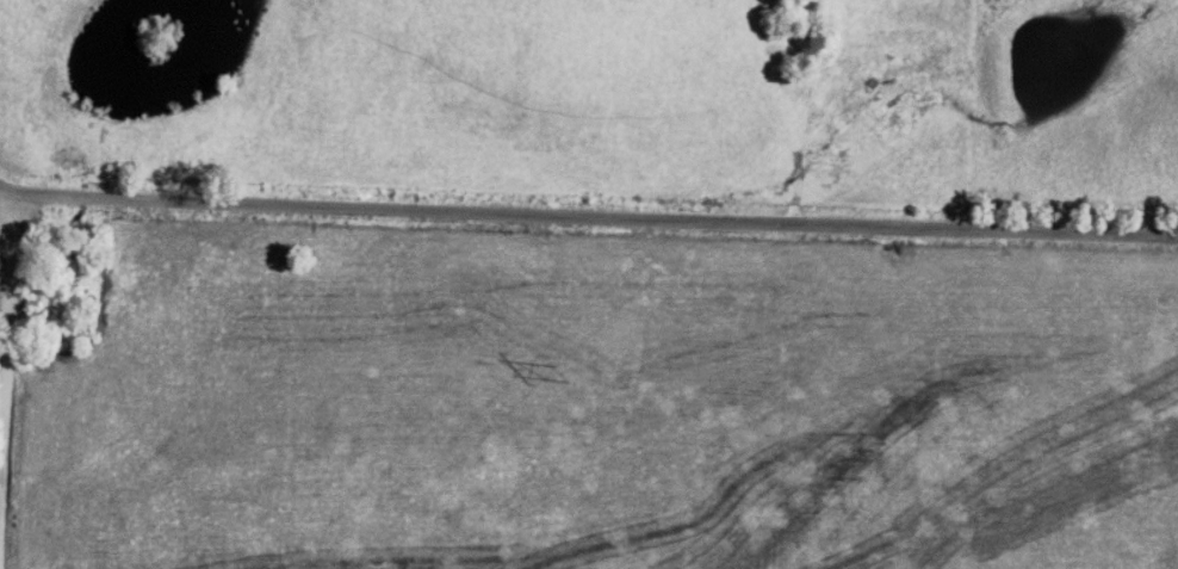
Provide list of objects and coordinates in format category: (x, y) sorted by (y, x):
road: (589, 214)
power tower: (553, 373)

